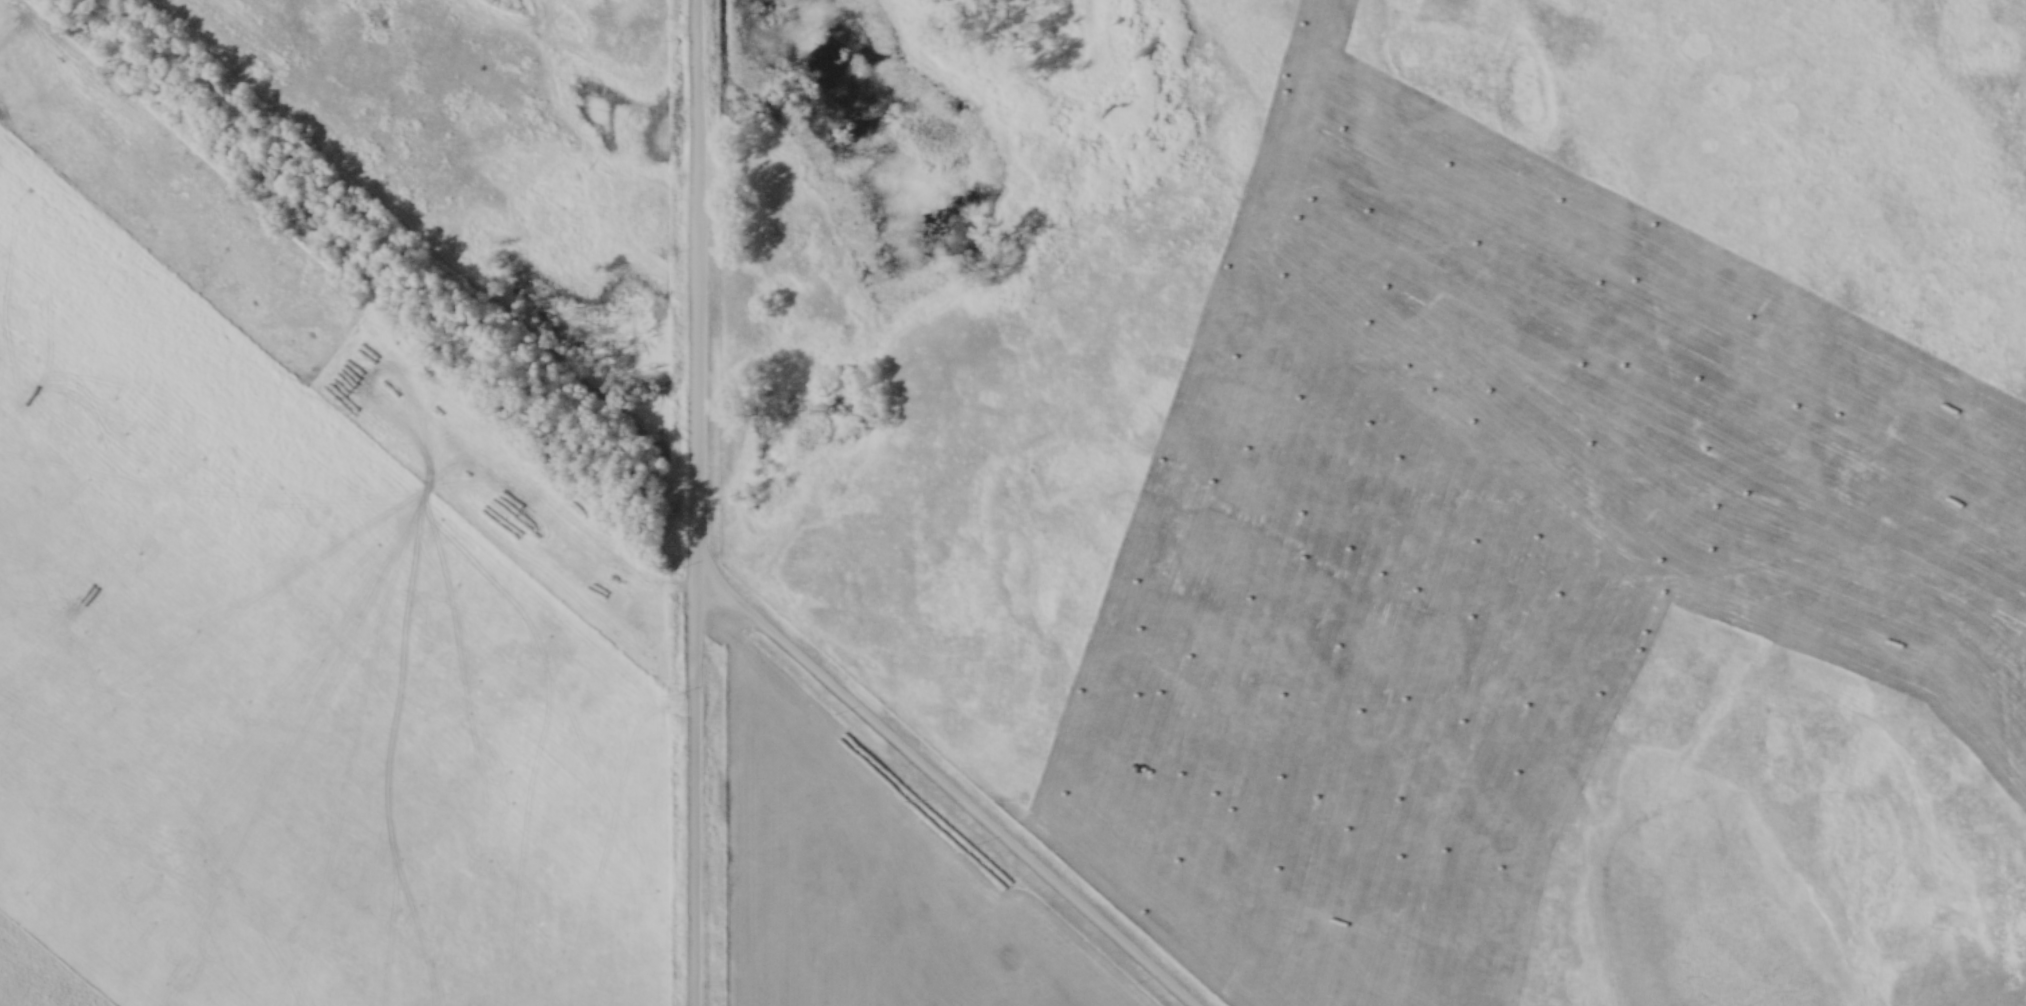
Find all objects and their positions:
road: (693, 503)
road: (939, 792)

